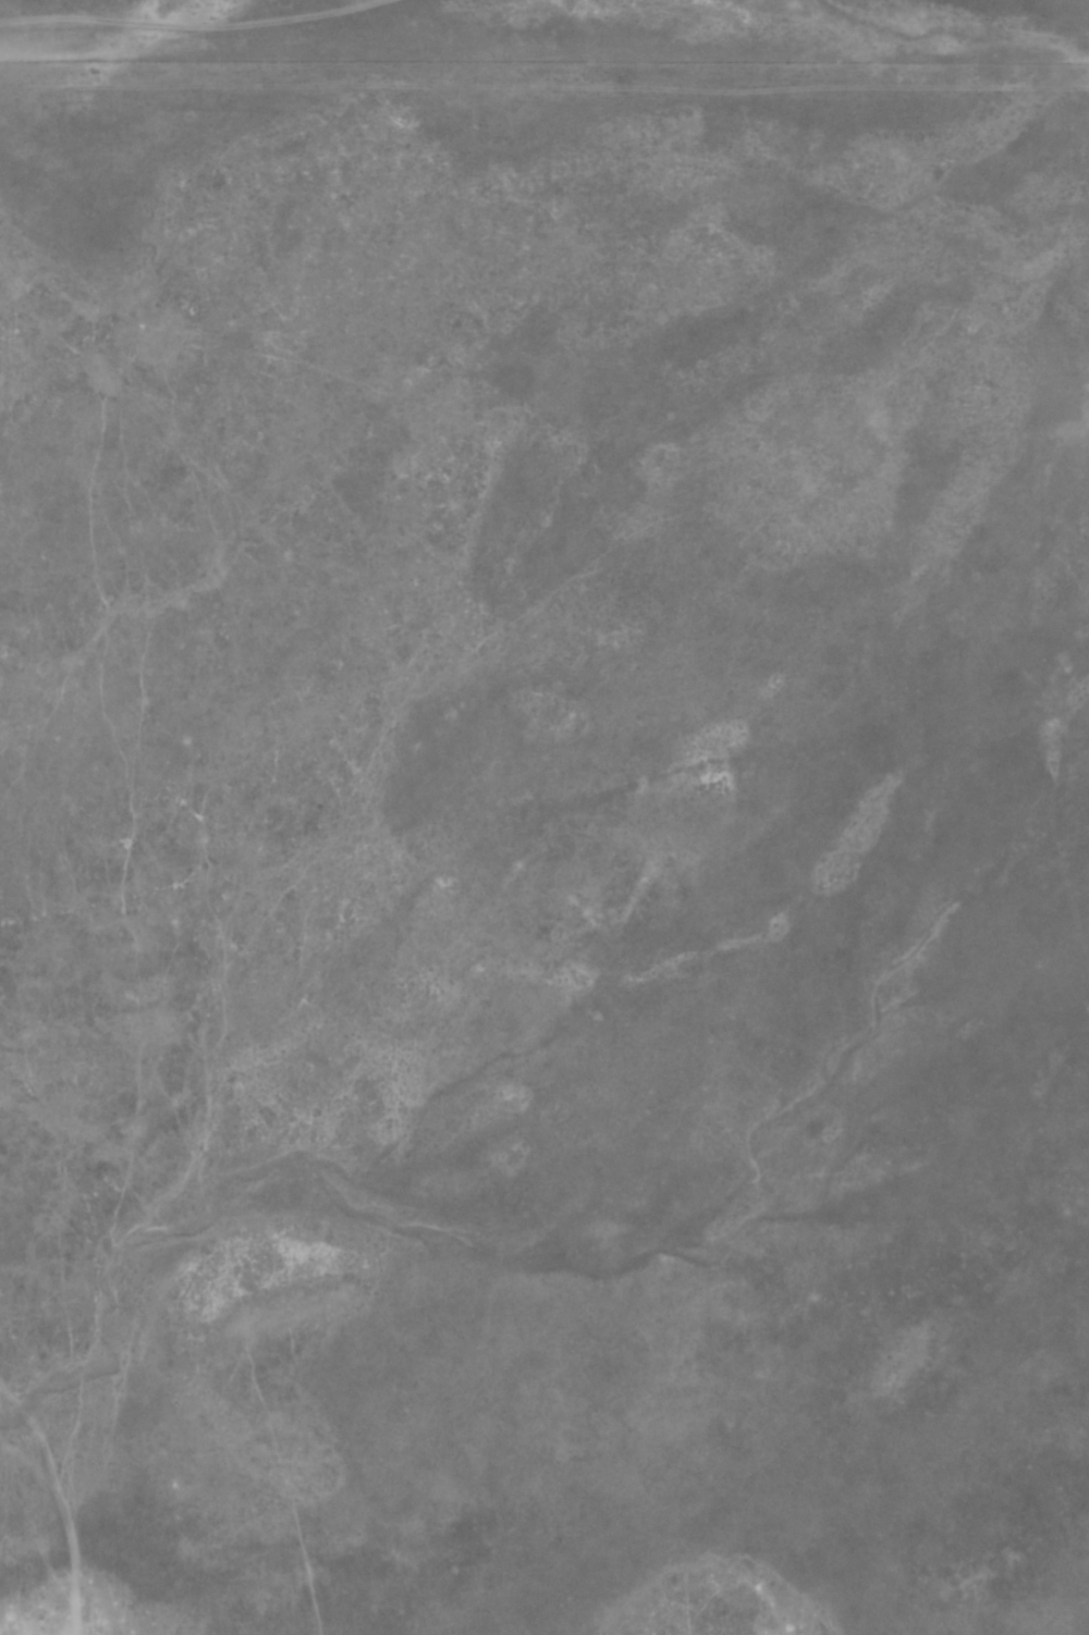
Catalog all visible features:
road: (62, 1496)

